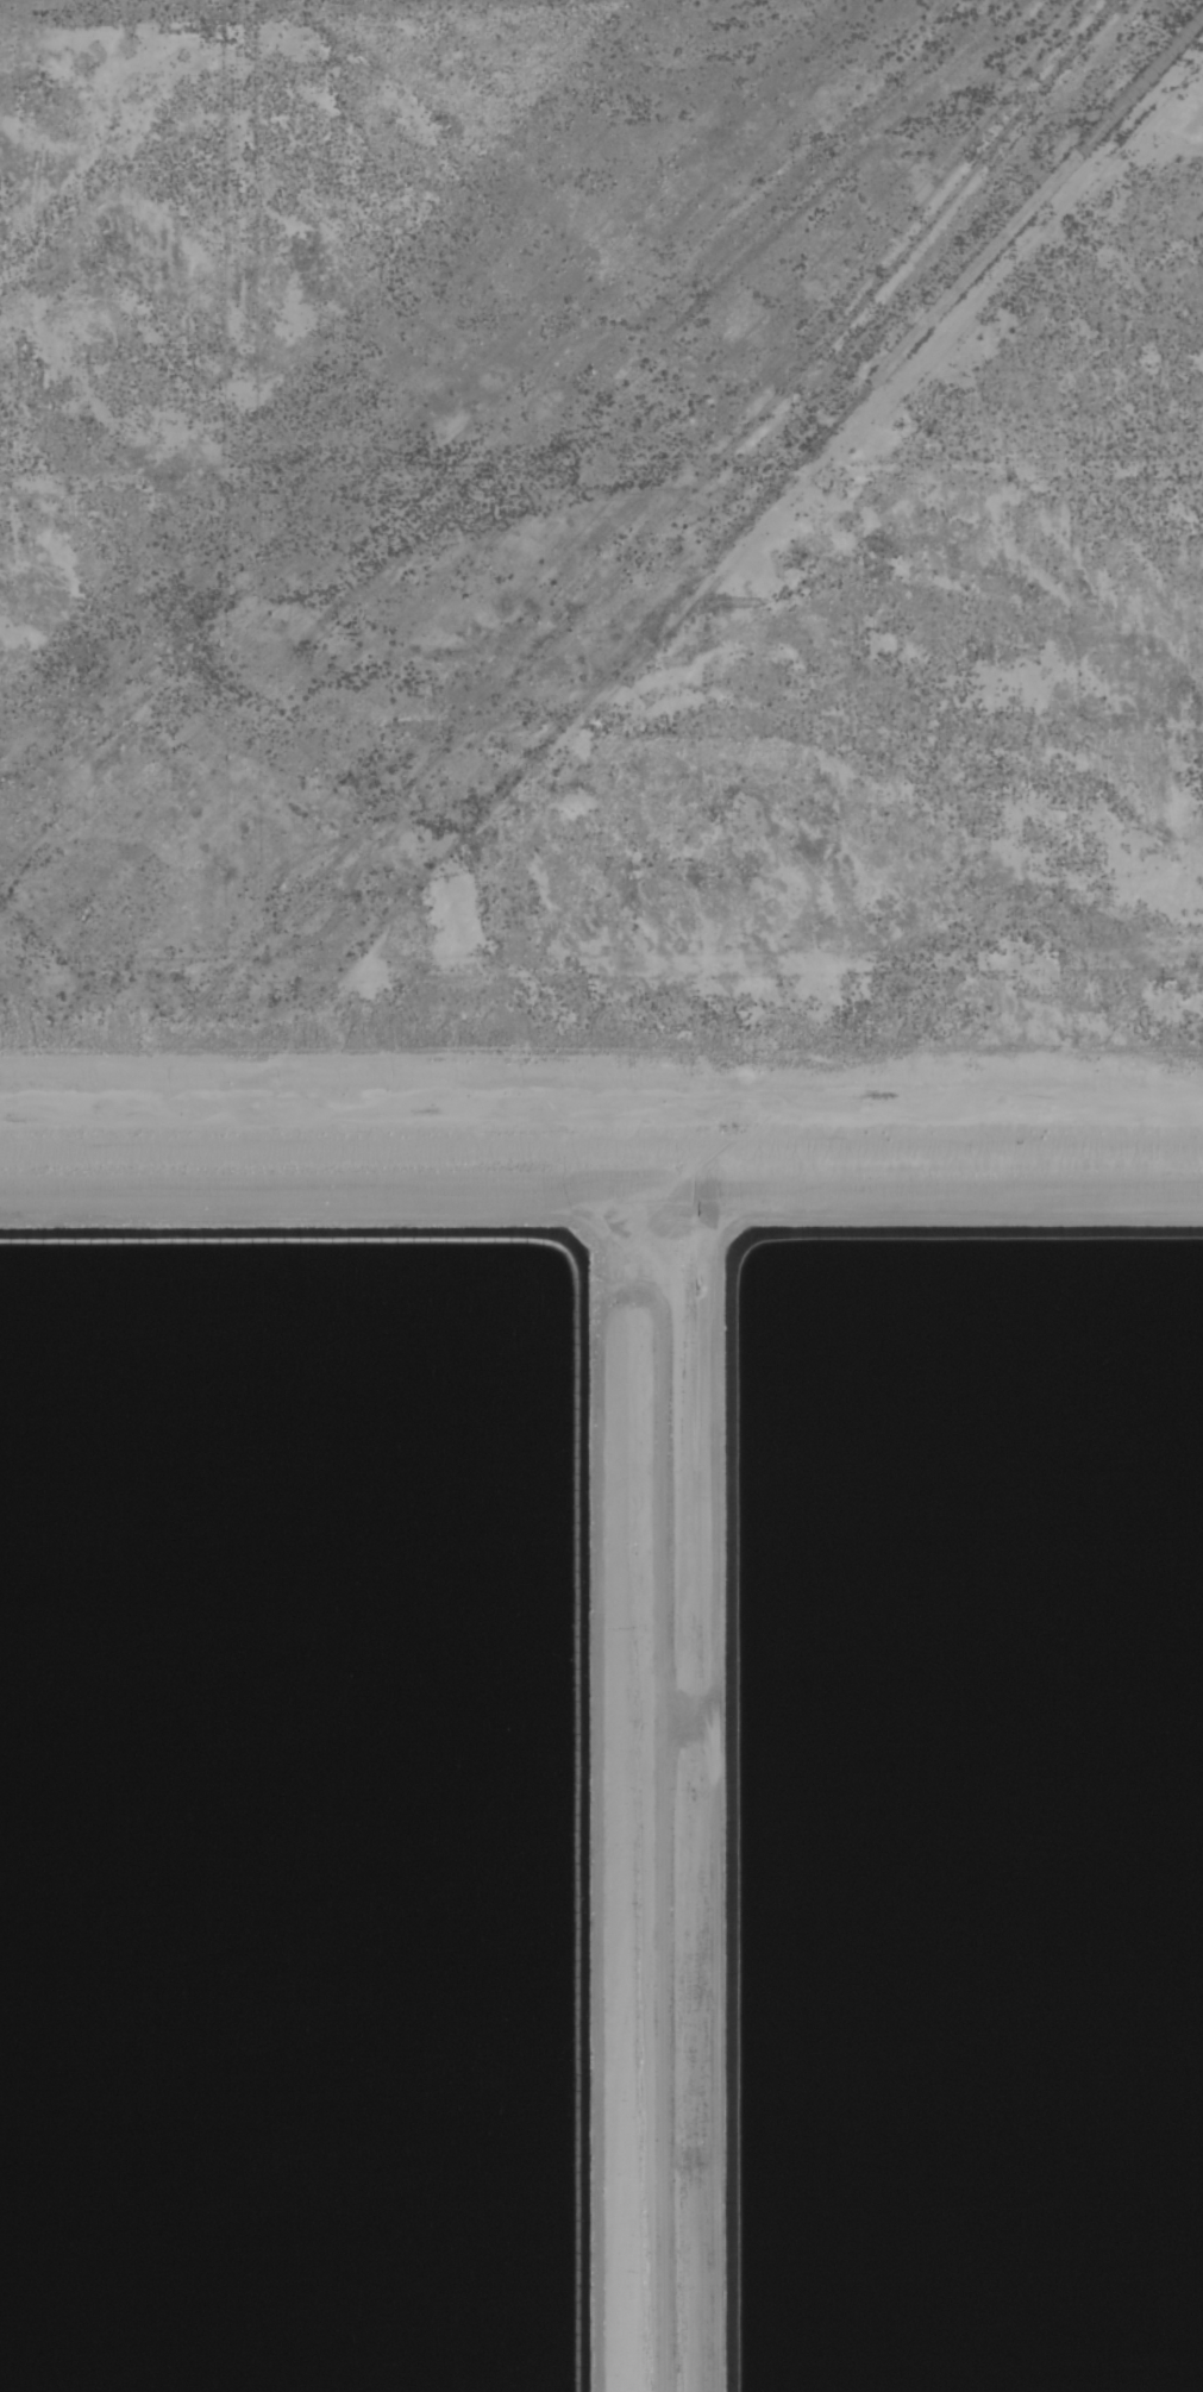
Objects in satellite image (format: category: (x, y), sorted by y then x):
wastewater plant: (601, 1721)

